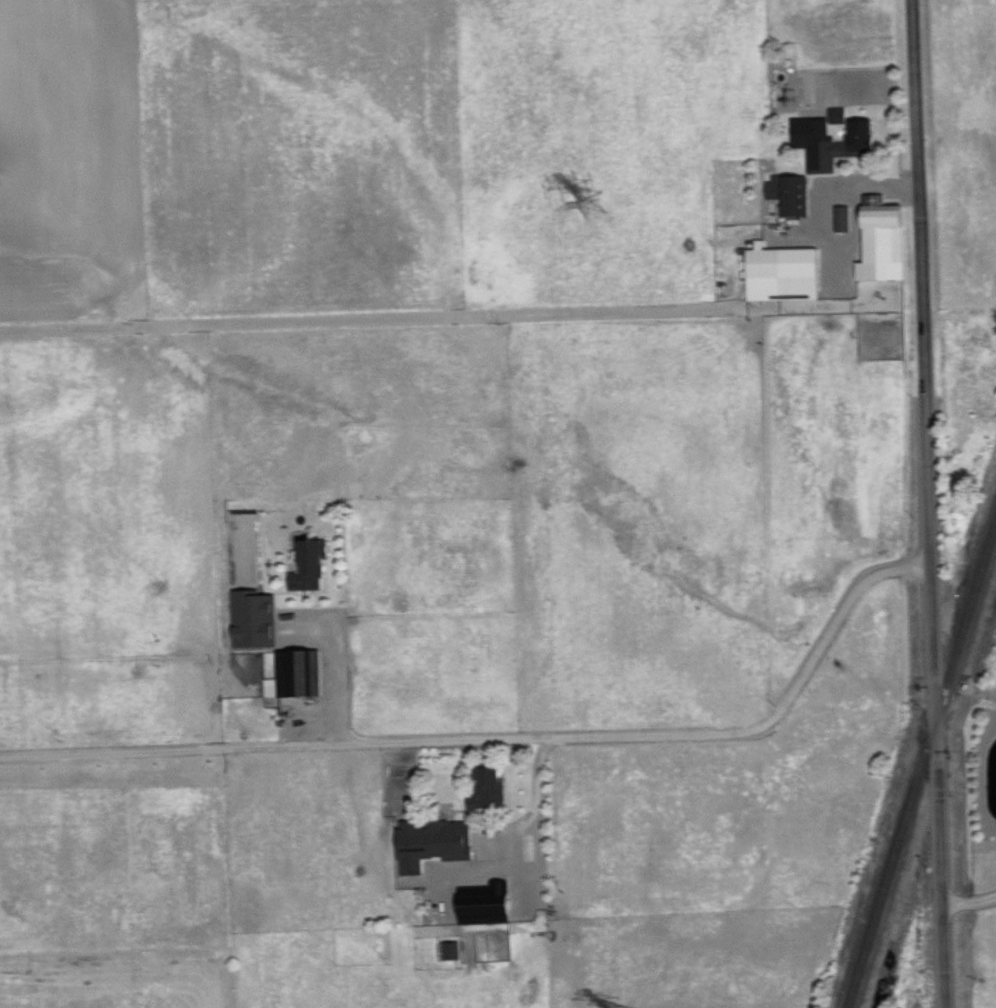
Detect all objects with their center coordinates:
building: (839, 114)
building: (841, 146)
building: (790, 193)
power tower: (596, 212)
building: (843, 218)
building: (883, 239)
building: (783, 272)
road: (928, 504)
building: (311, 567)
building: (255, 619)
building: (296, 674)
road: (334, 680)
road: (508, 739)
railway: (923, 766)
building: (489, 789)
road: (520, 831)
building: (433, 842)
road: (970, 904)
building: (487, 909)
building: (453, 950)
power tower: (626, 989)

